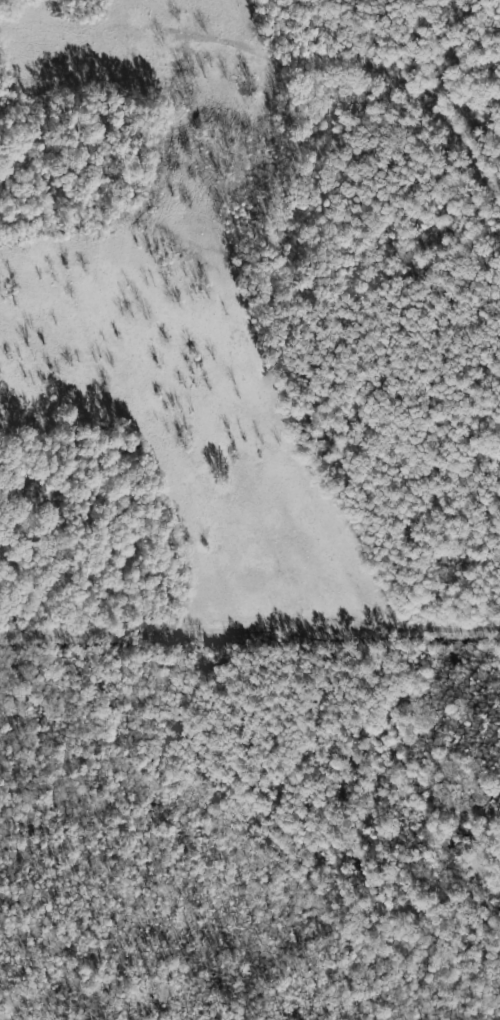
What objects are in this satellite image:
road: (250, 627)

